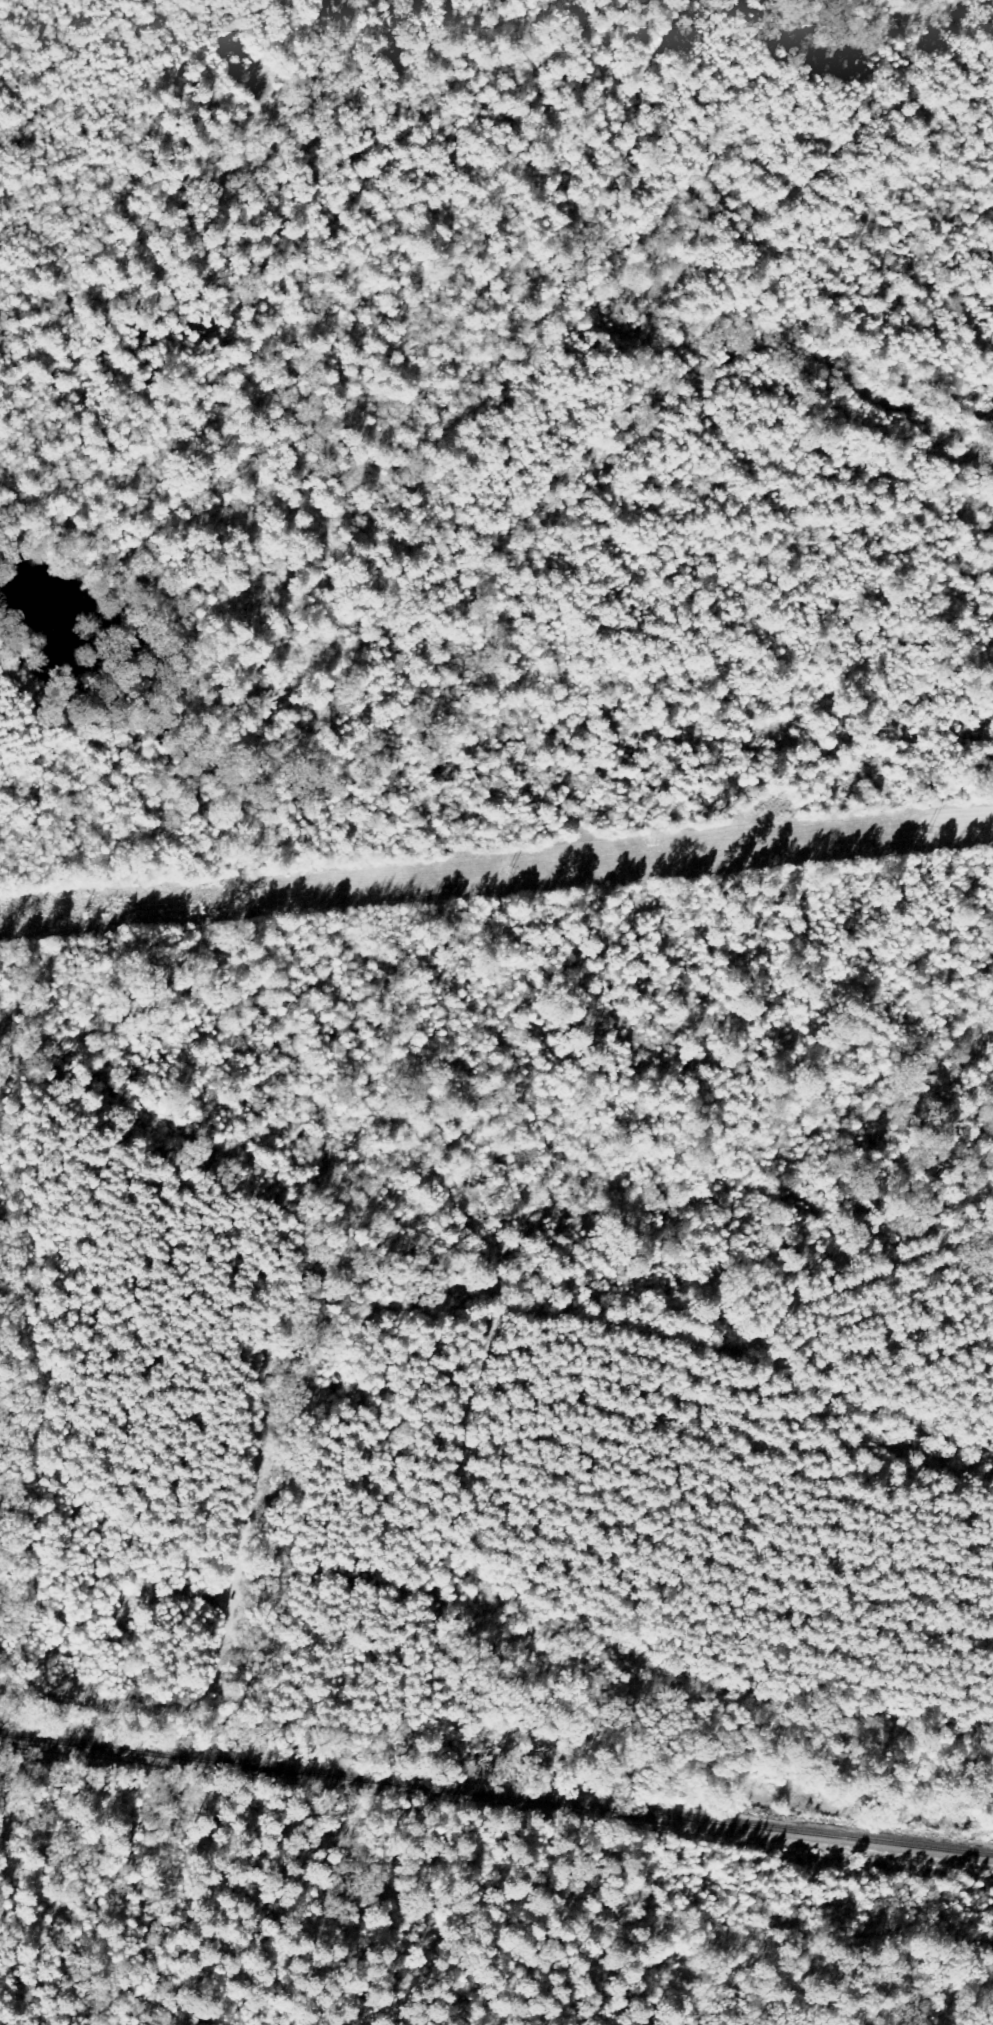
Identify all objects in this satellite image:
power tower: (929, 830)
power tower: (510, 871)
railway: (496, 1794)
road: (18, 1880)

